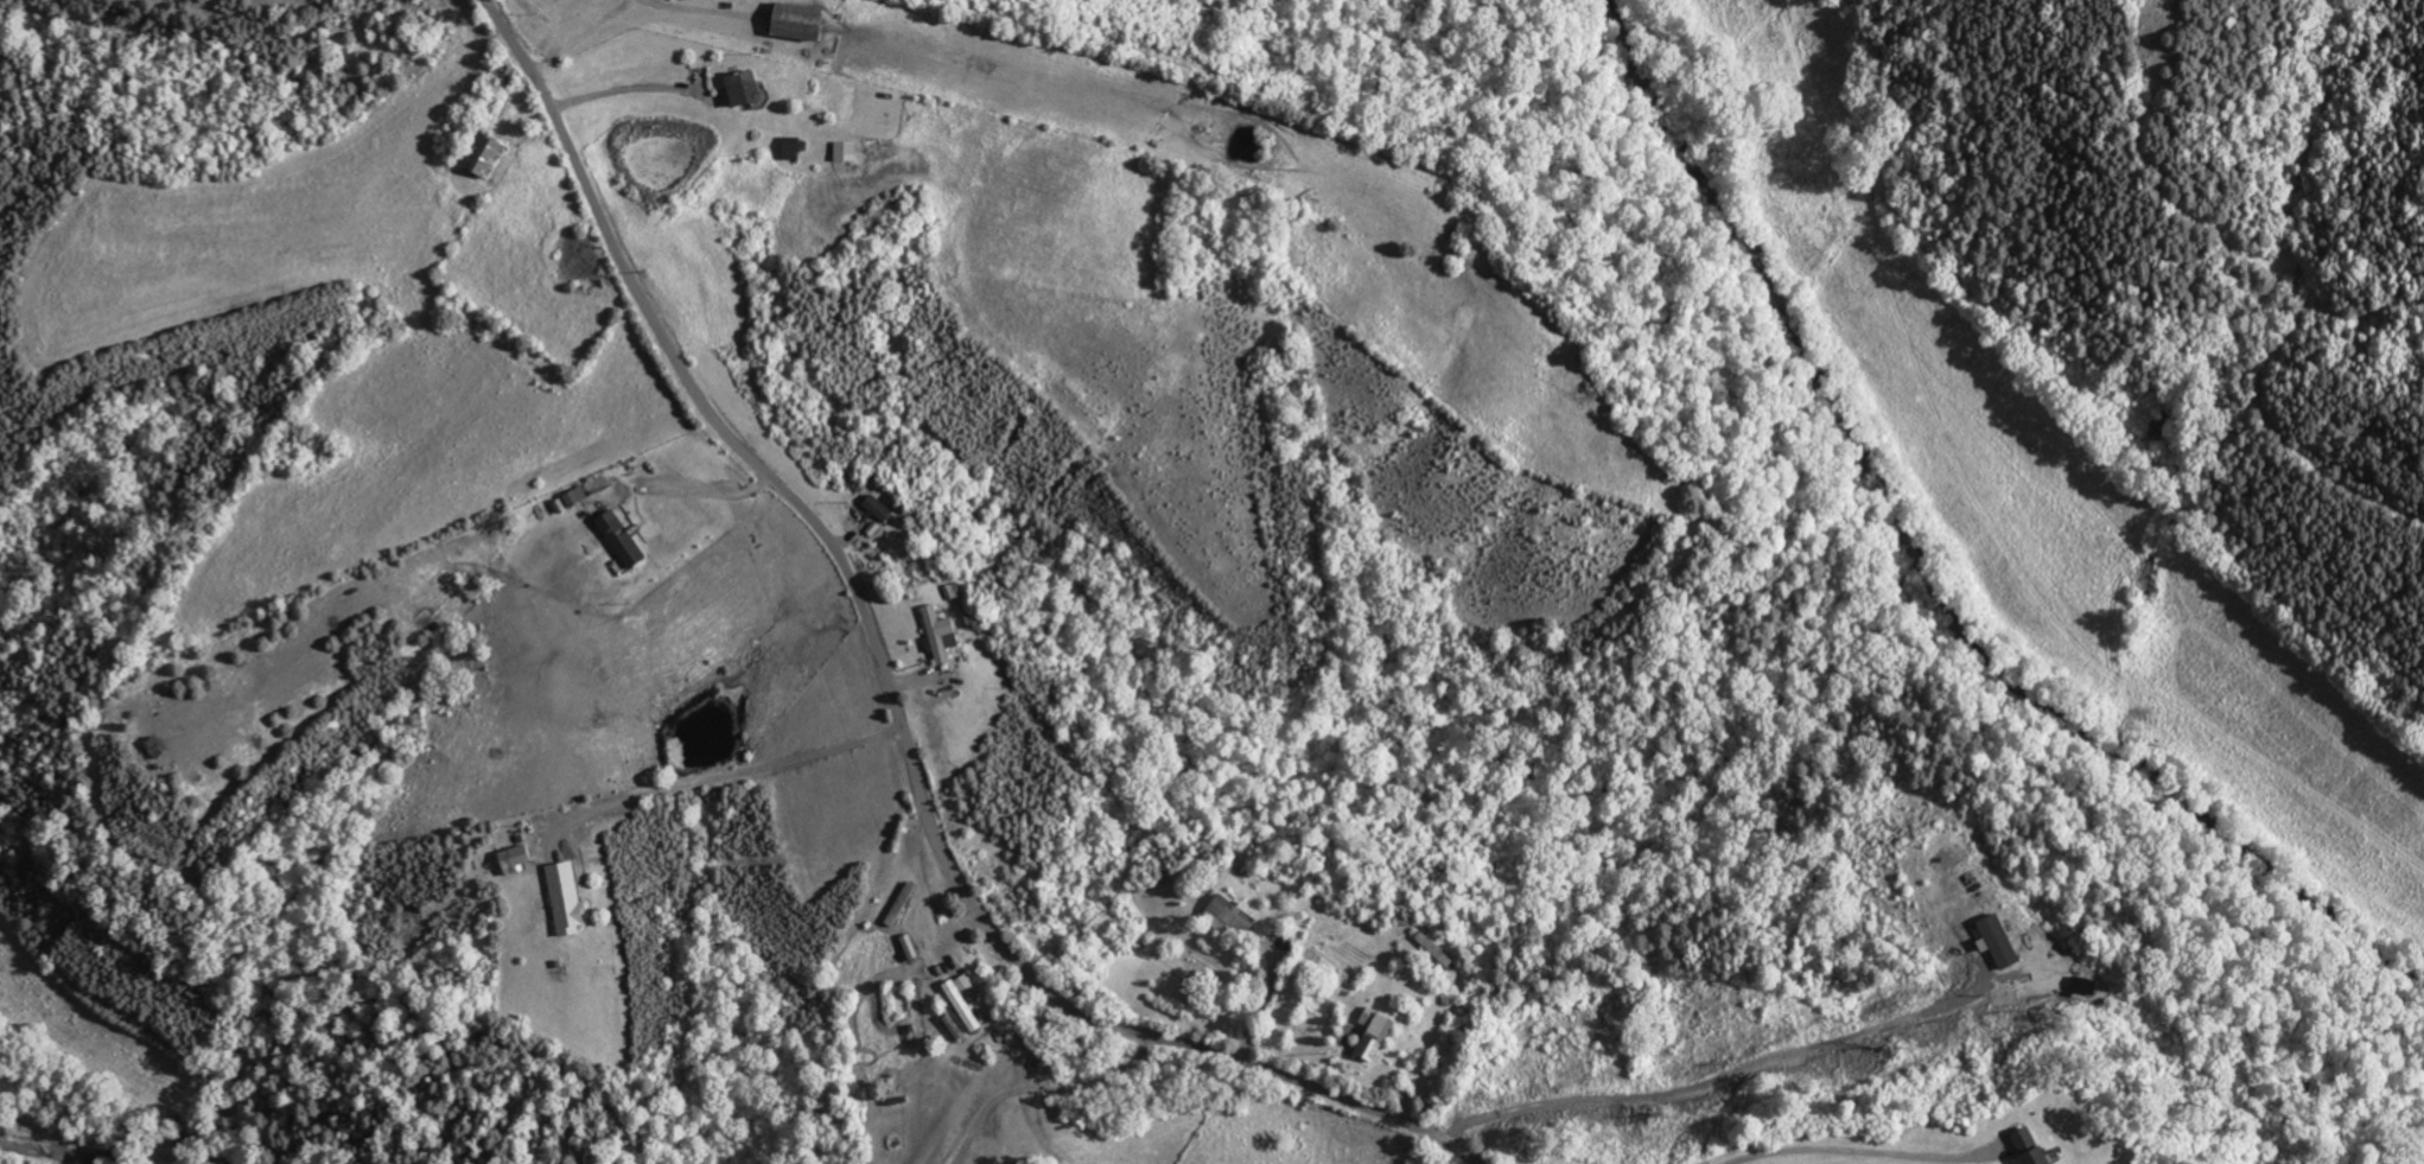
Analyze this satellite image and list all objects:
road: (682, 9)
building: (793, 24)
road: (618, 81)
building: (740, 89)
building: (791, 151)
building: (844, 153)
building: (481, 158)
road: (710, 495)
building: (877, 510)
building: (619, 540)
road: (891, 691)
road: (720, 777)
building: (513, 859)
building: (565, 898)
building: (1226, 917)
building: (1434, 954)
building: (962, 1001)
building: (1372, 1036)
road: (1719, 1082)
road: (1042, 1090)
road: (1864, 1149)
building: (2027, 1149)

